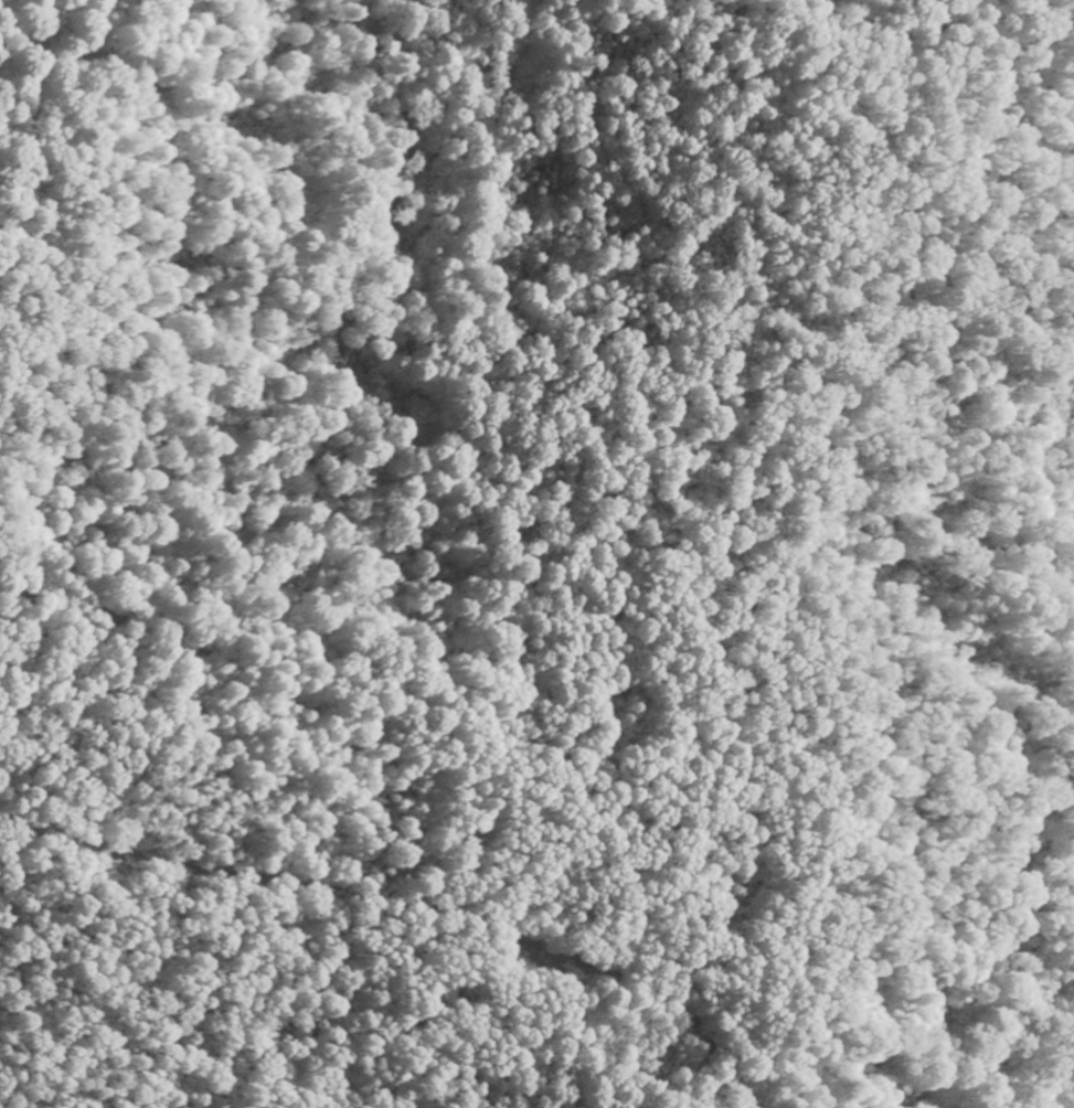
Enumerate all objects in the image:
road: (299, 875)
road: (685, 1015)

